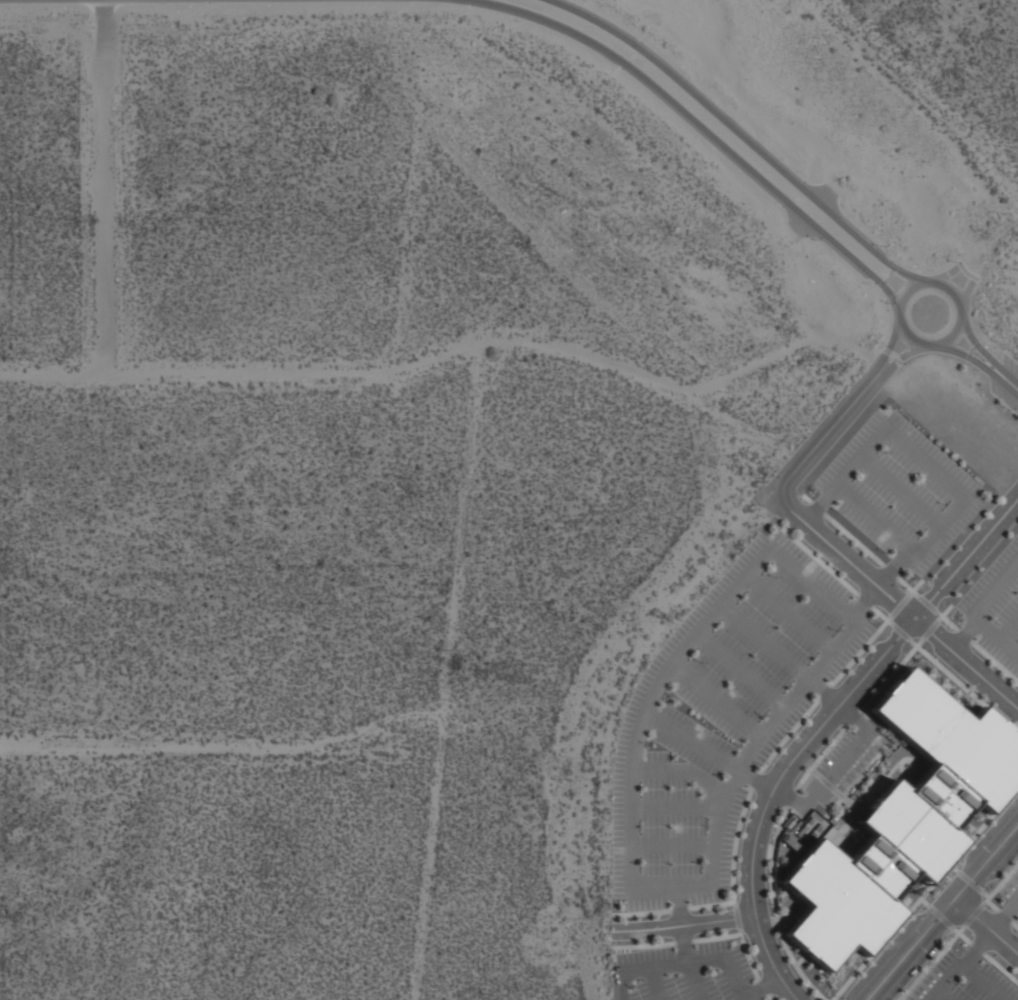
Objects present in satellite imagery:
road: (681, 110)
road: (737, 131)
road: (960, 263)
road: (893, 266)
road: (966, 271)
road: (947, 272)
road: (889, 275)
road: (975, 276)
road: (882, 282)
road: (967, 292)
road: (900, 323)
road: (976, 344)
road: (977, 344)
road: (887, 347)
road: (971, 348)
road: (886, 350)
road: (893, 354)
road: (967, 355)
road: (969, 356)
road: (897, 360)
road: (898, 360)
road: (1009, 380)
parking lot: (1005, 382)
road: (860, 457)
road: (925, 461)
road: (900, 489)
parking lot: (899, 490)
road: (807, 498)
road: (820, 505)
road: (817, 507)
road: (873, 519)
road: (937, 522)
road: (853, 539)
road: (842, 554)
road: (819, 561)
road: (893, 567)
road: (889, 570)
road: (811, 581)
road: (906, 585)
road: (915, 586)
road: (997, 589)
road: (864, 599)
road: (864, 600)
road: (926, 602)
road: (899, 604)
parking lot: (996, 607)
road: (944, 611)
road: (789, 612)
road: (881, 615)
road: (946, 620)
road: (930, 628)
road: (1009, 628)
road: (900, 631)
road: (963, 633)
road: (963, 635)
road: (996, 635)
road: (764, 641)
road: (859, 650)
road: (994, 661)
road: (737, 669)
road: (890, 674)
road: (963, 685)
road: (824, 690)
road: (824, 692)
road: (651, 696)
road: (714, 698)
road: (853, 716)
road: (855, 716)
road: (819, 727)
road: (787, 734)
road: (758, 737)
road: (690, 741)
road: (820, 756)
parking lot: (716, 761)
road: (681, 768)
road: (836, 768)
road: (815, 773)
road: (755, 778)
road: (756, 779)
road: (856, 779)
road: (826, 782)
road: (787, 797)
road: (790, 798)
road: (844, 798)
road: (675, 805)
building: (902, 820)
road: (779, 824)
road: (733, 844)
road: (671, 845)
road: (773, 851)
road: (953, 867)
road: (969, 880)
road: (1000, 882)
road: (669, 885)
road: (771, 886)
parking lot: (1012, 888)
road: (924, 891)
road: (985, 893)
road: (924, 901)
road: (710, 904)
road: (992, 904)
road: (678, 905)
road: (679, 908)
road: (941, 911)
road: (641, 912)
road: (939, 914)
road: (973, 914)
road: (1004, 915)
road: (736, 916)
road: (1004, 916)
road: (777, 918)
road: (1014, 923)
road: (986, 924)
parking lot: (1017, 924)
road: (683, 925)
road: (961, 934)
road: (716, 936)
road: (683, 940)
road: (684, 942)
road: (643, 946)
road: (977, 947)
road: (977, 947)
road: (747, 953)
road: (672, 962)
road: (931, 962)
road: (795, 964)
road: (1000, 967)
parking lot: (962, 976)
road: (733, 978)
road: (694, 980)
road: (945, 982)
road: (982, 982)
road: (657, 983)
road: (619, 985)
road: (763, 985)
road: (762, 986)
road: (943, 995)
road: (770, 996)

